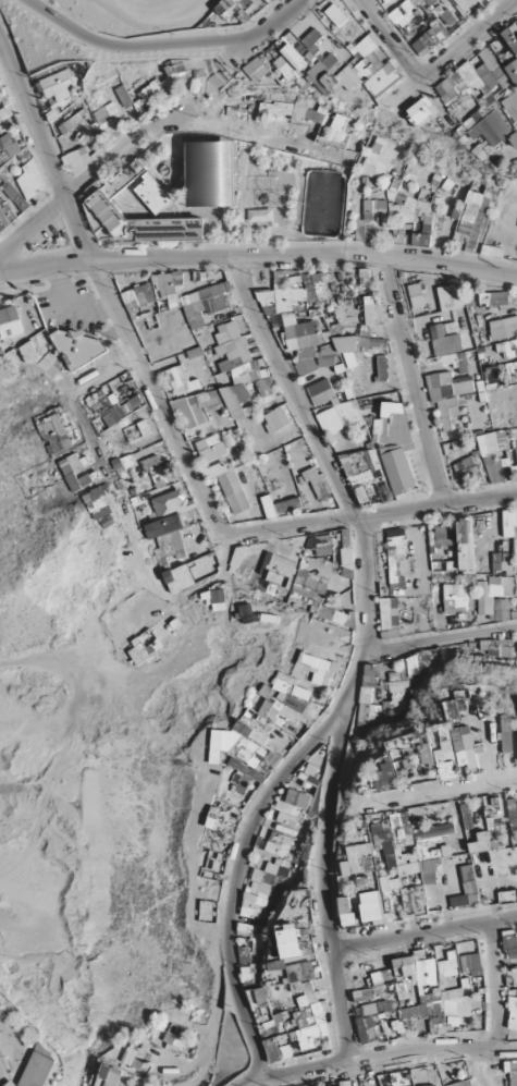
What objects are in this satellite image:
park: (143, 13)
road: (163, 44)
road: (464, 268)

